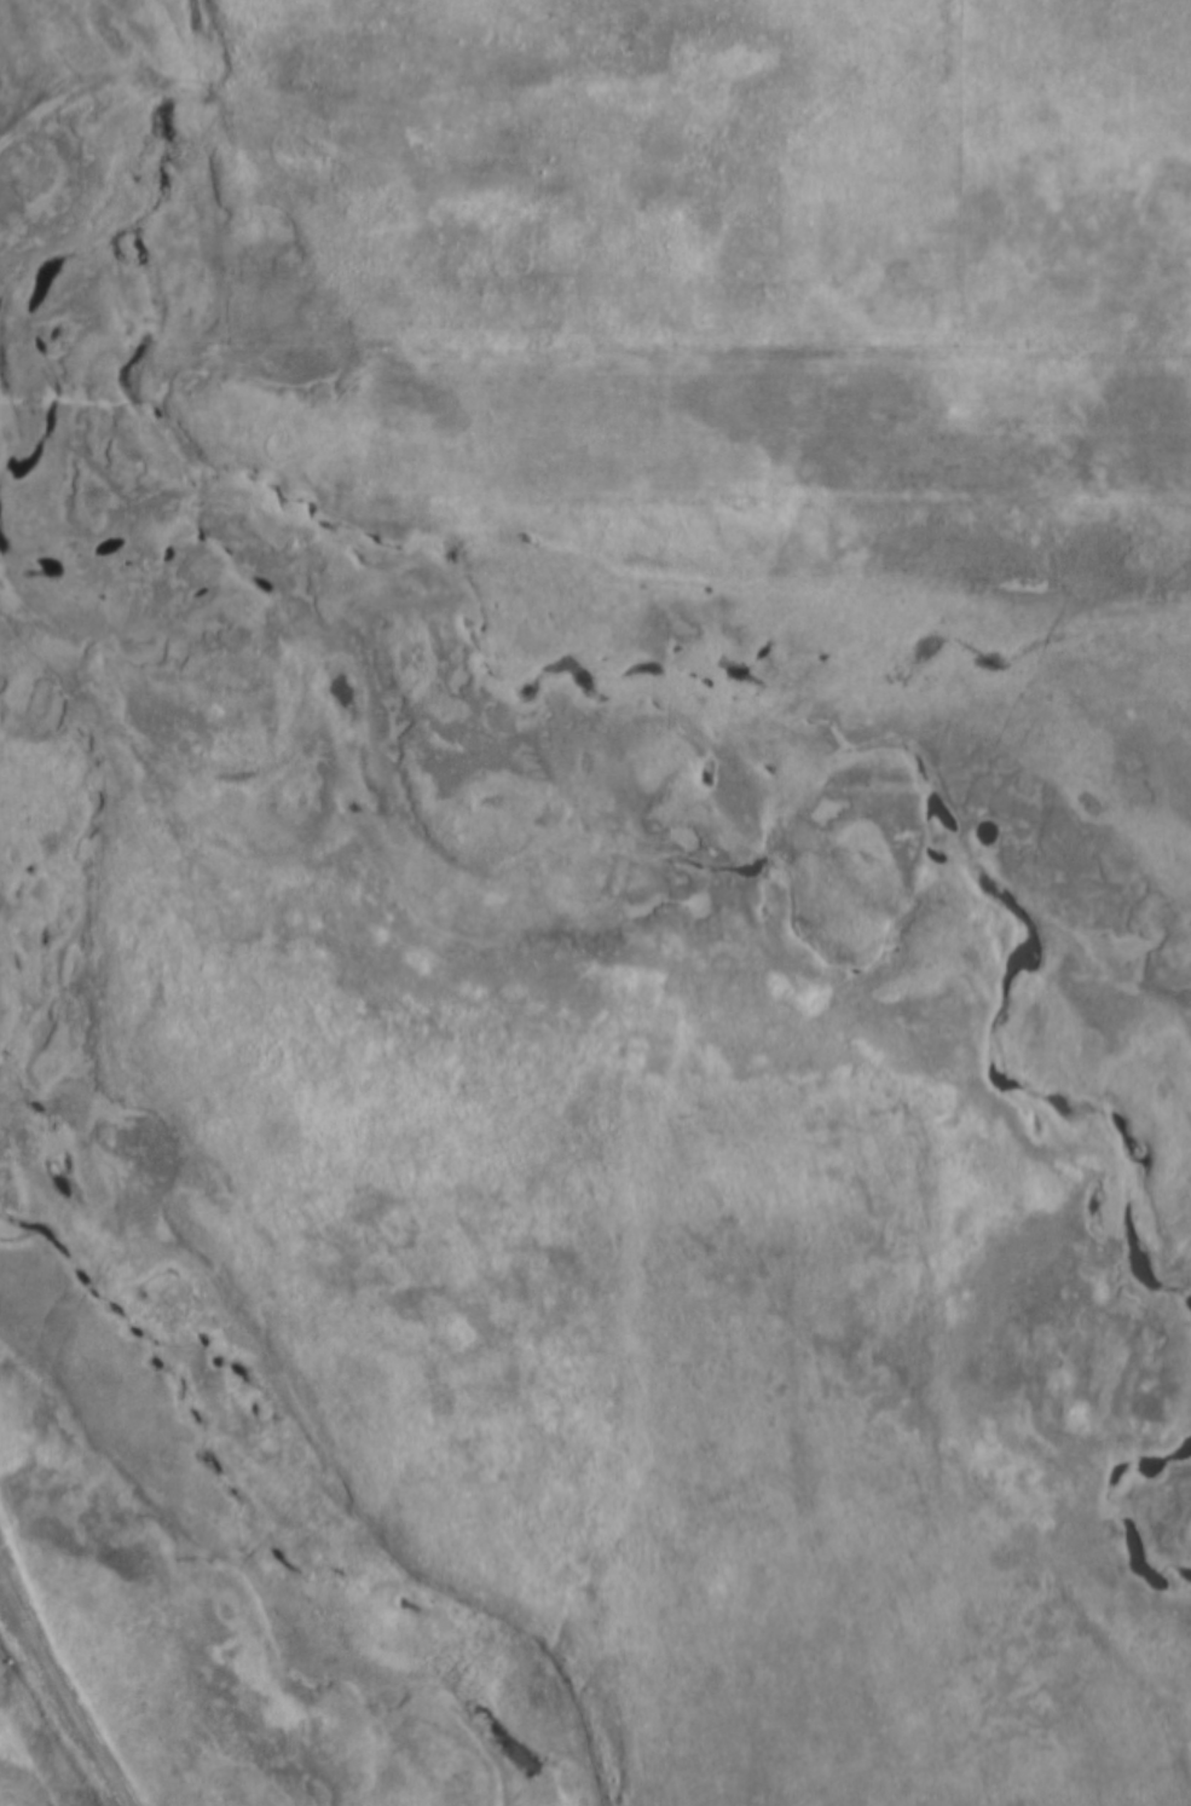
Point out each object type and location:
road: (58, 1681)
quarry: (60, 1686)

